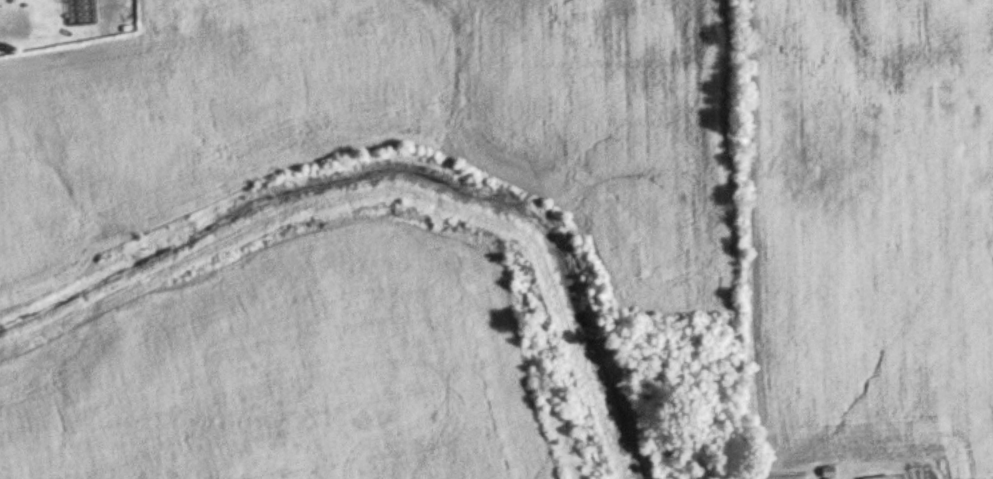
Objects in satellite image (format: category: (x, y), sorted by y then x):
building: (880, 477)

